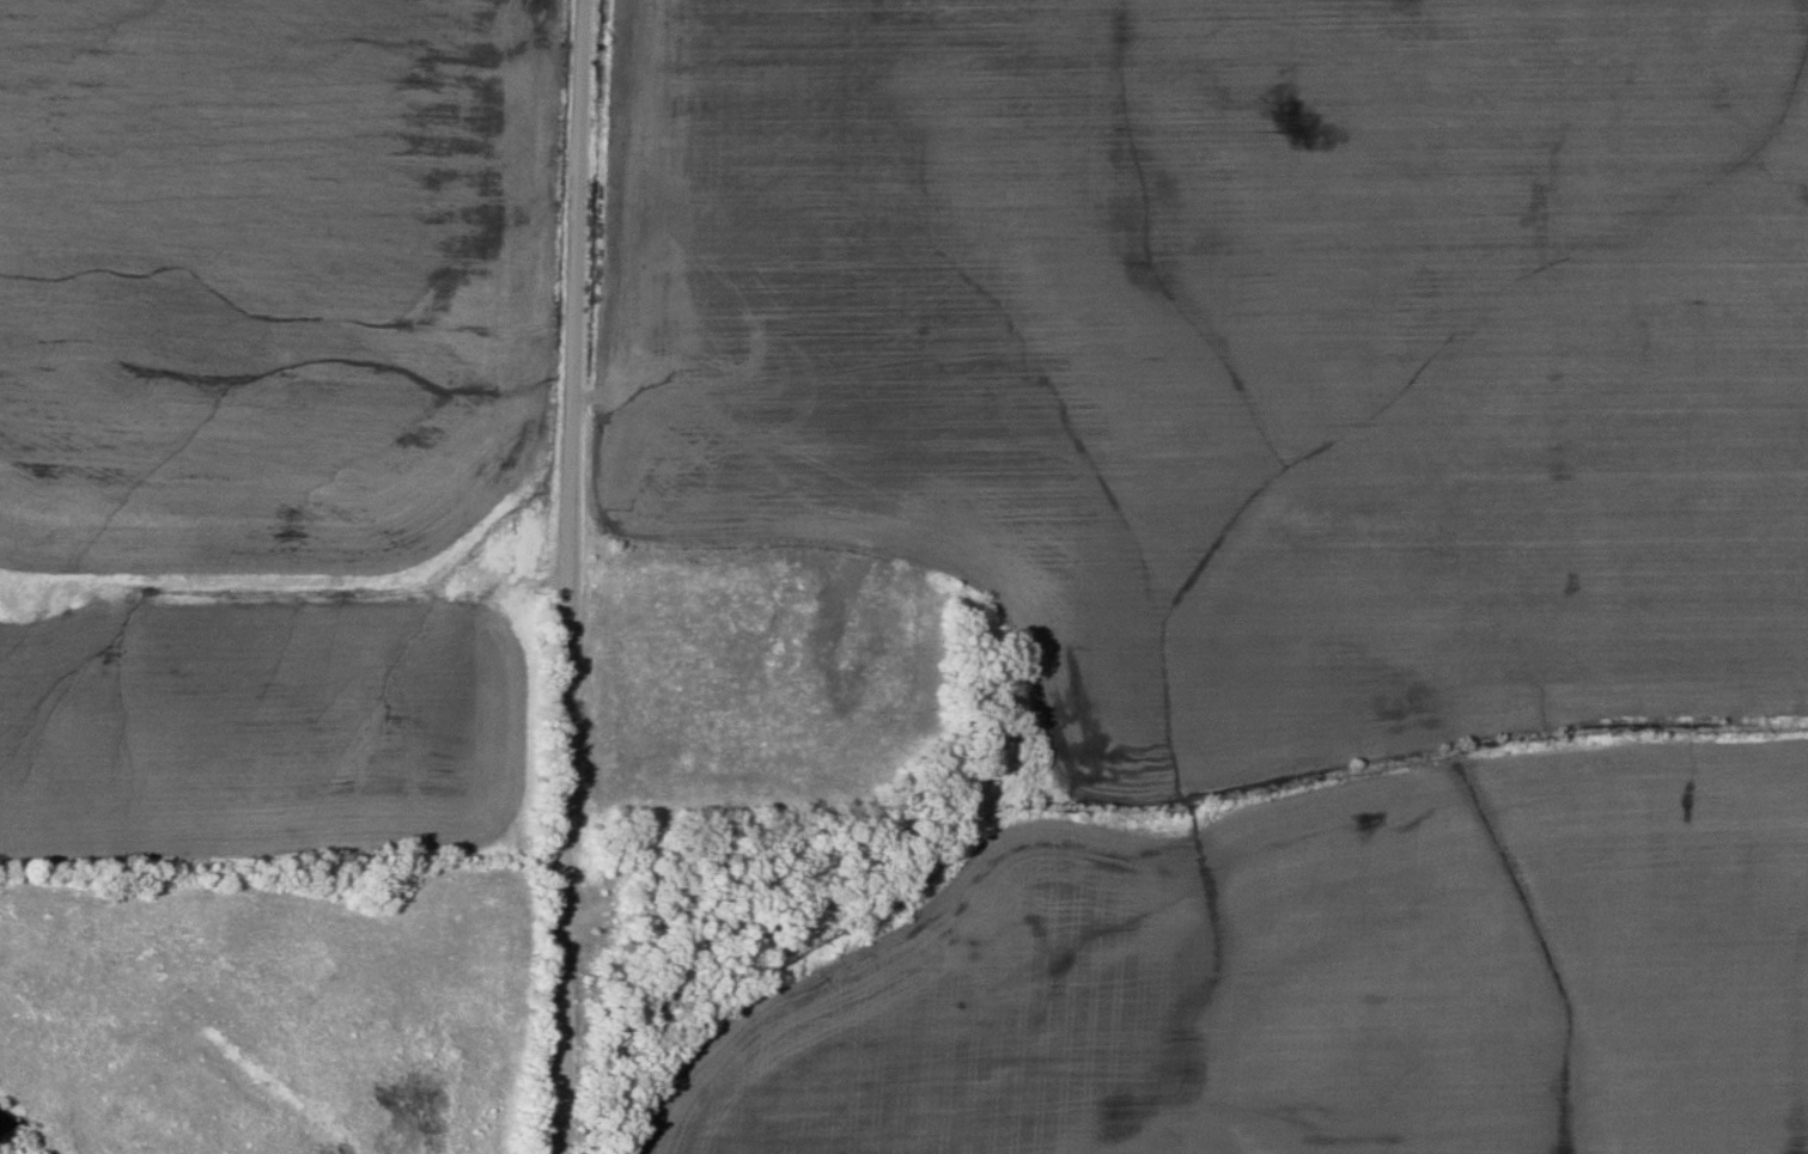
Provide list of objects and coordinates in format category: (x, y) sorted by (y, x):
crop: (1193, 378)
road: (566, 576)
crop: (1323, 988)

